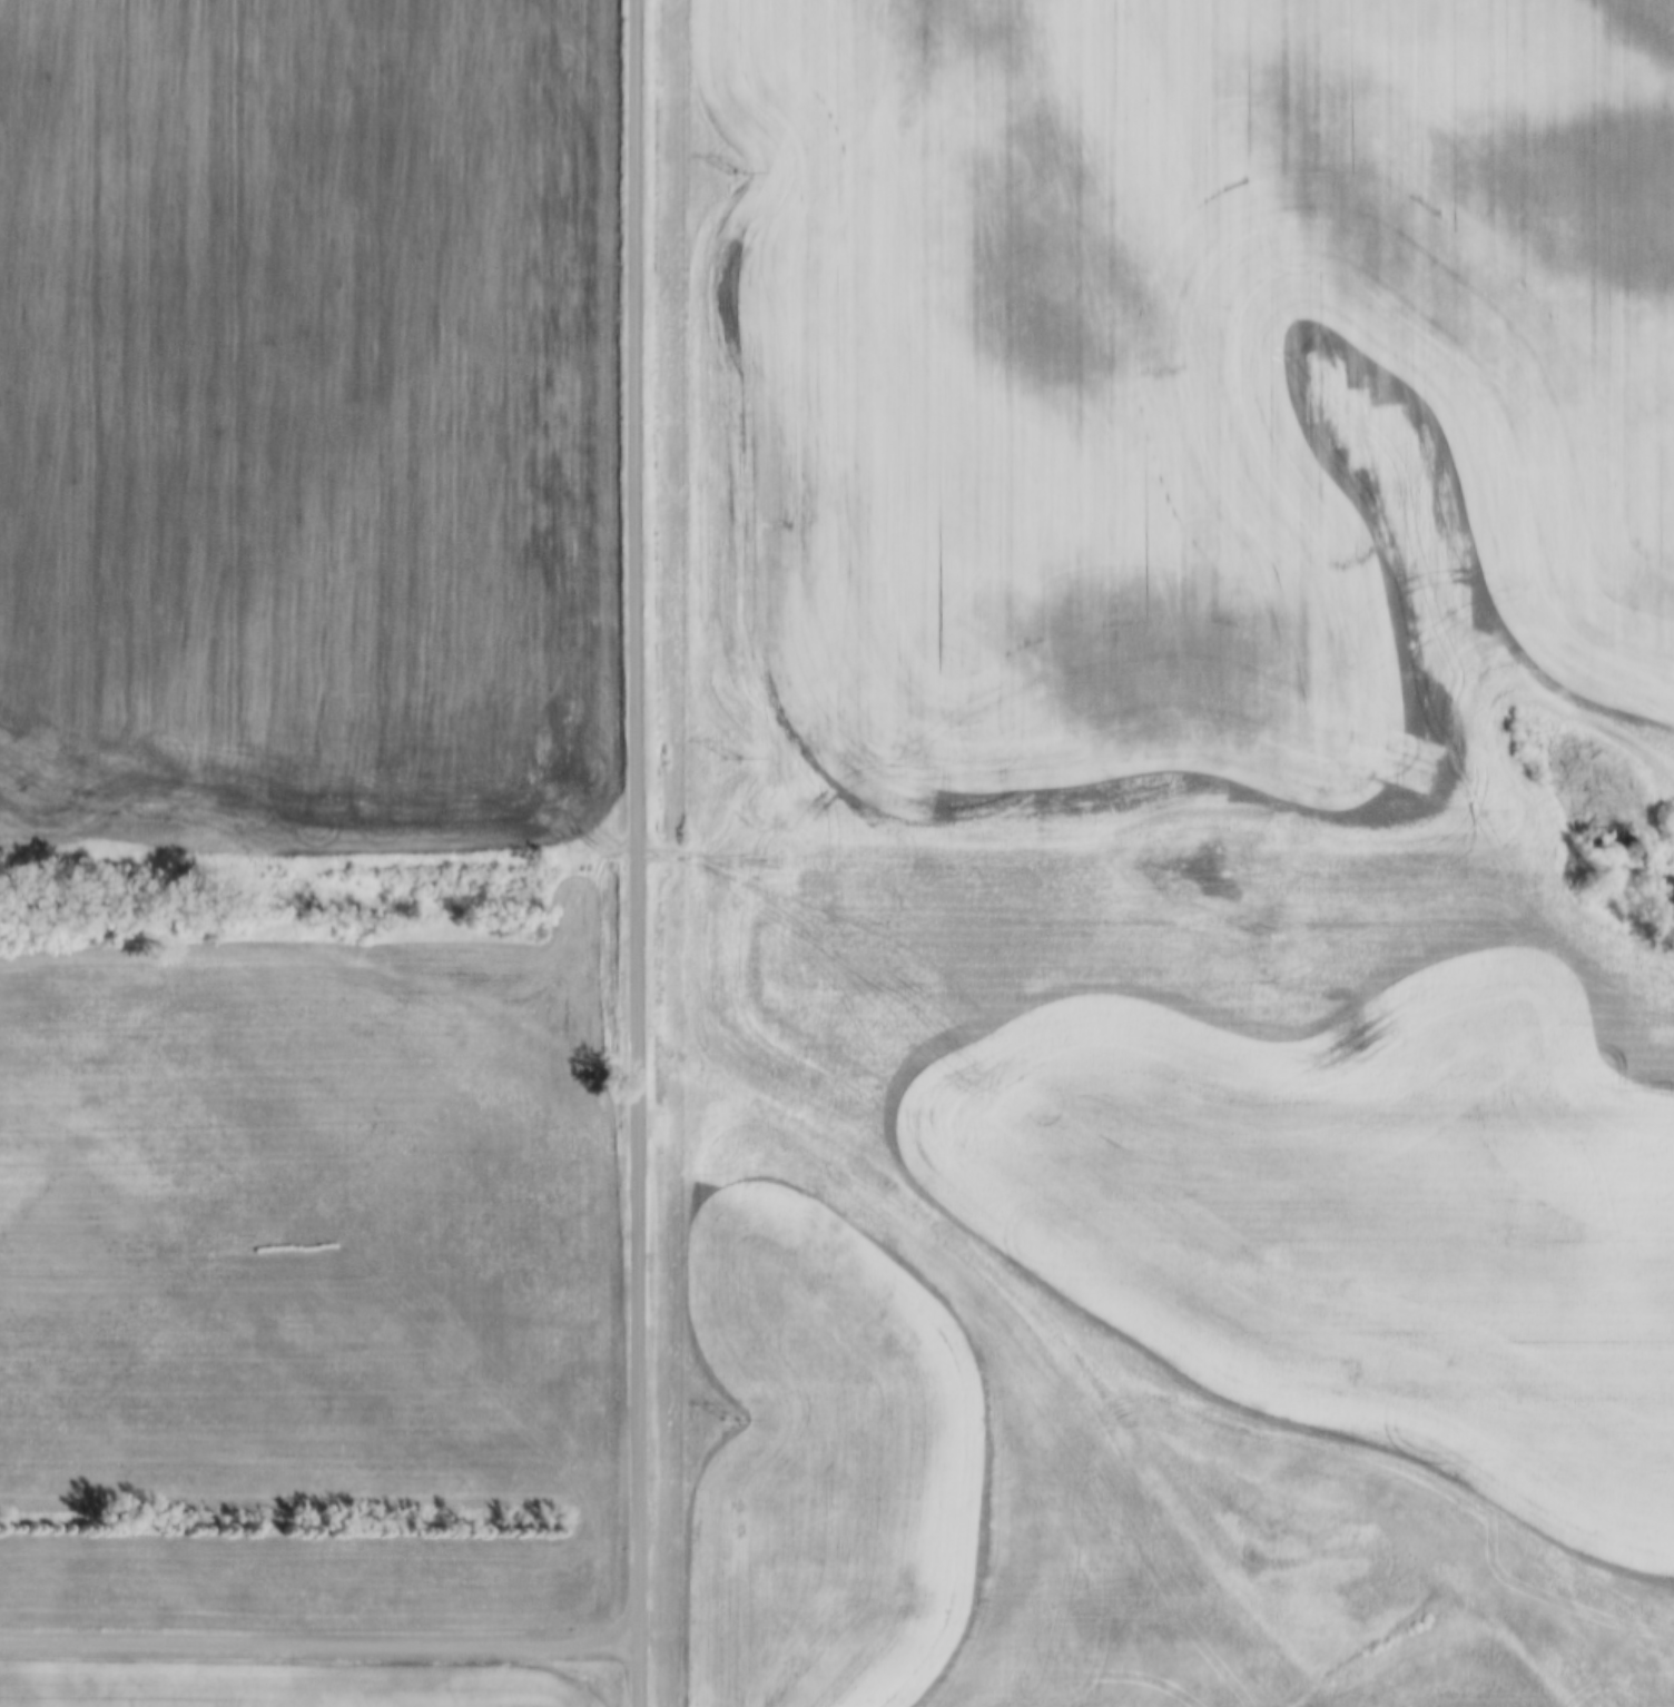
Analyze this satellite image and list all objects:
power tower: (731, 174)
power tower: (730, 760)
road: (637, 852)
power tower: (729, 1421)
road: (319, 1646)

